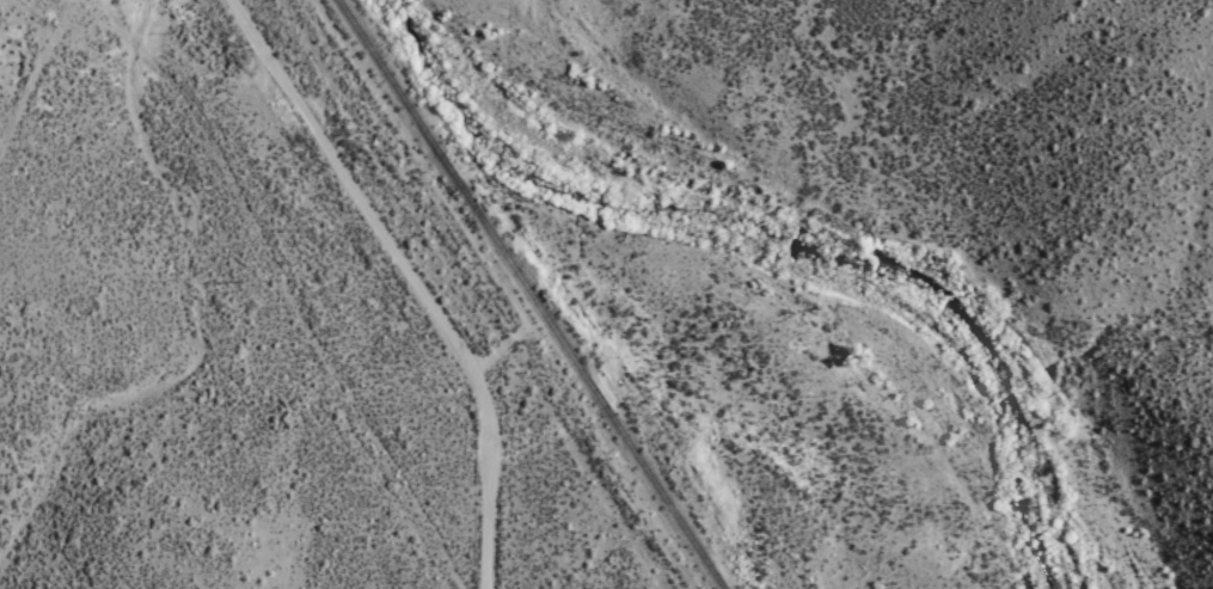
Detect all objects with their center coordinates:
crop: (785, 129)
road: (402, 277)
railway: (528, 294)
road: (472, 295)
crop: (455, 320)

